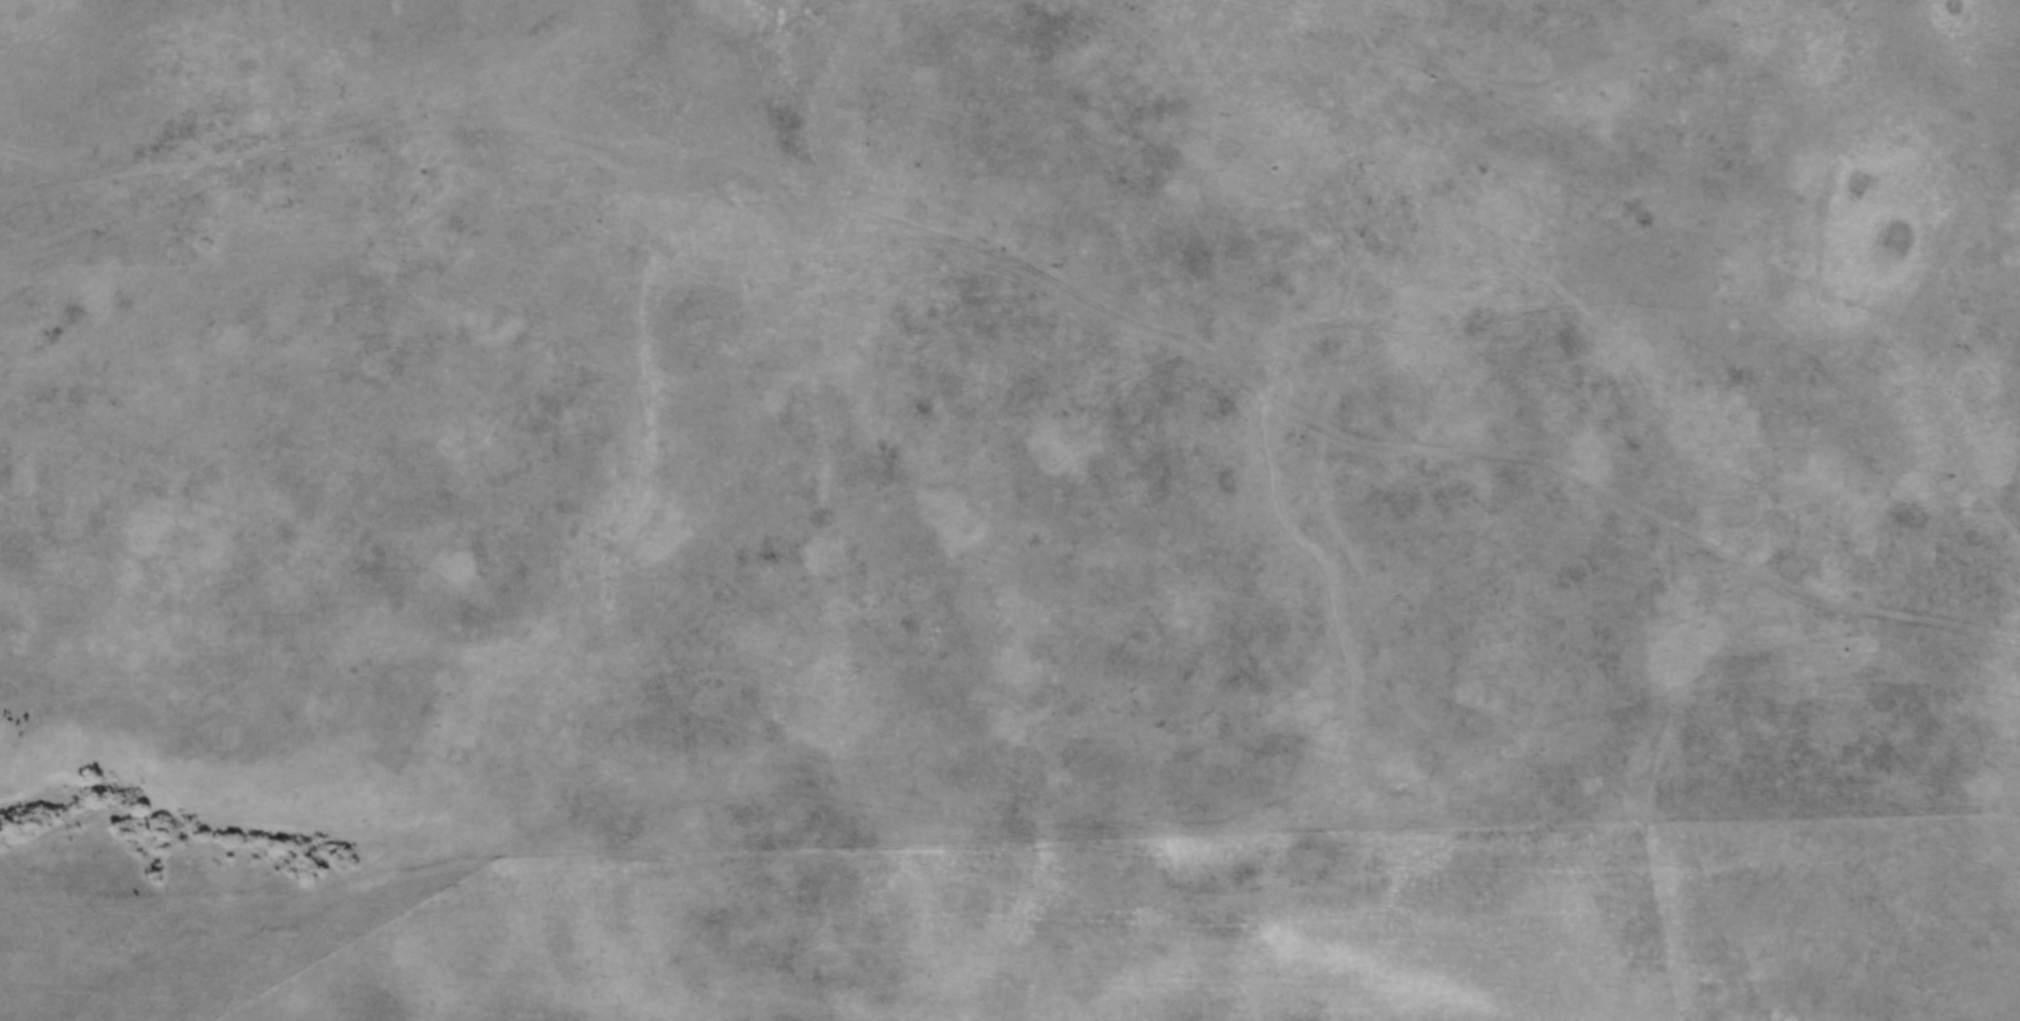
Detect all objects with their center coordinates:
road: (1019, 265)

